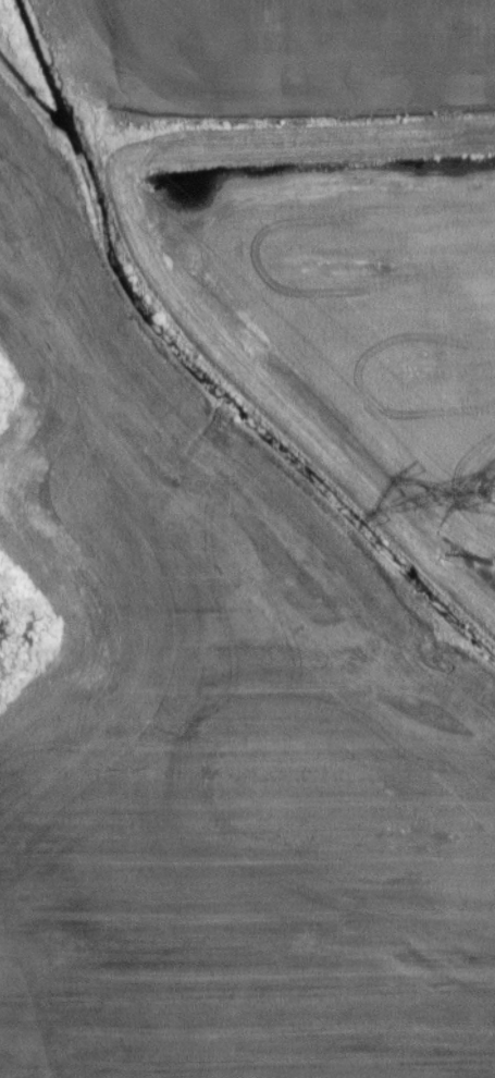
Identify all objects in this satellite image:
road: (158, 272)

